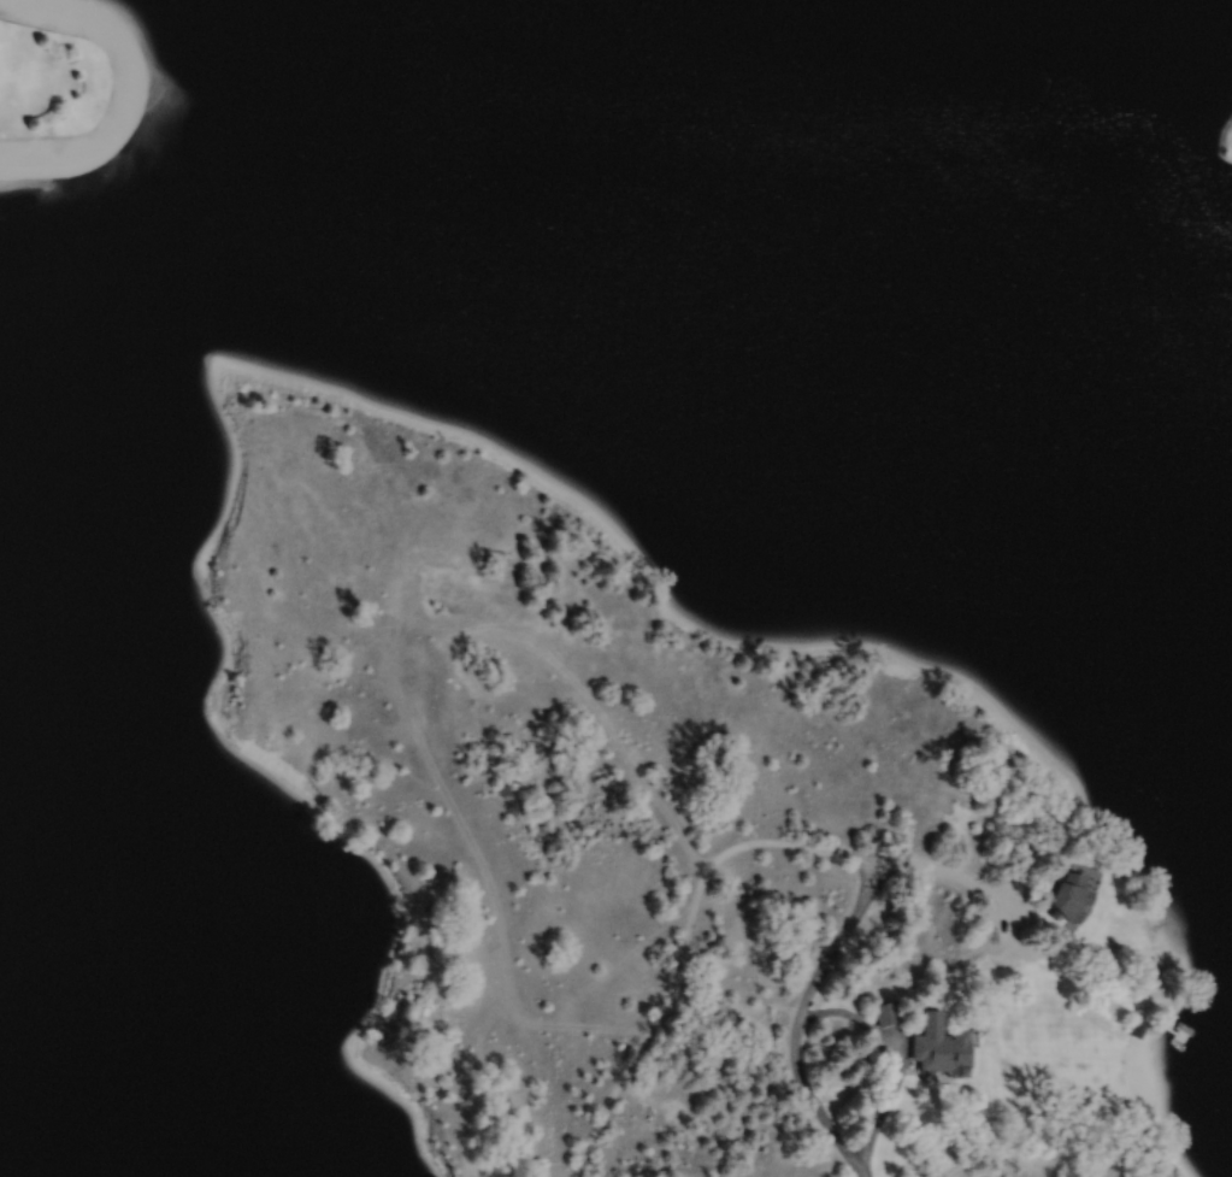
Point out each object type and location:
road: (524, 638)
building: (1067, 895)
road: (684, 941)
road: (829, 952)
building: (880, 1010)
building: (1137, 1022)
building: (936, 1044)
road: (891, 1057)

